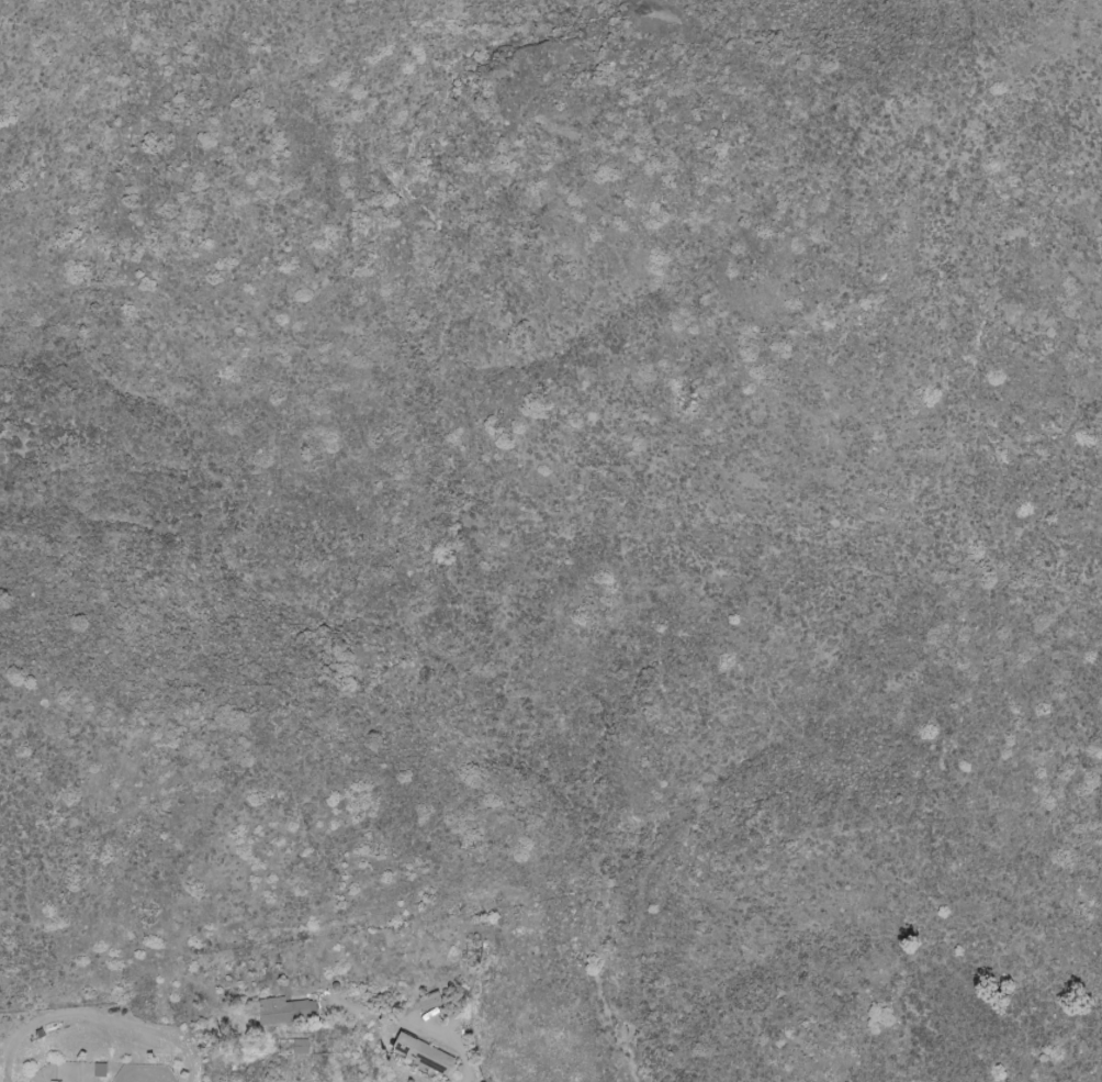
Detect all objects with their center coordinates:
building: (428, 1002)
building: (285, 1012)
building: (421, 1055)
road: (472, 1062)

